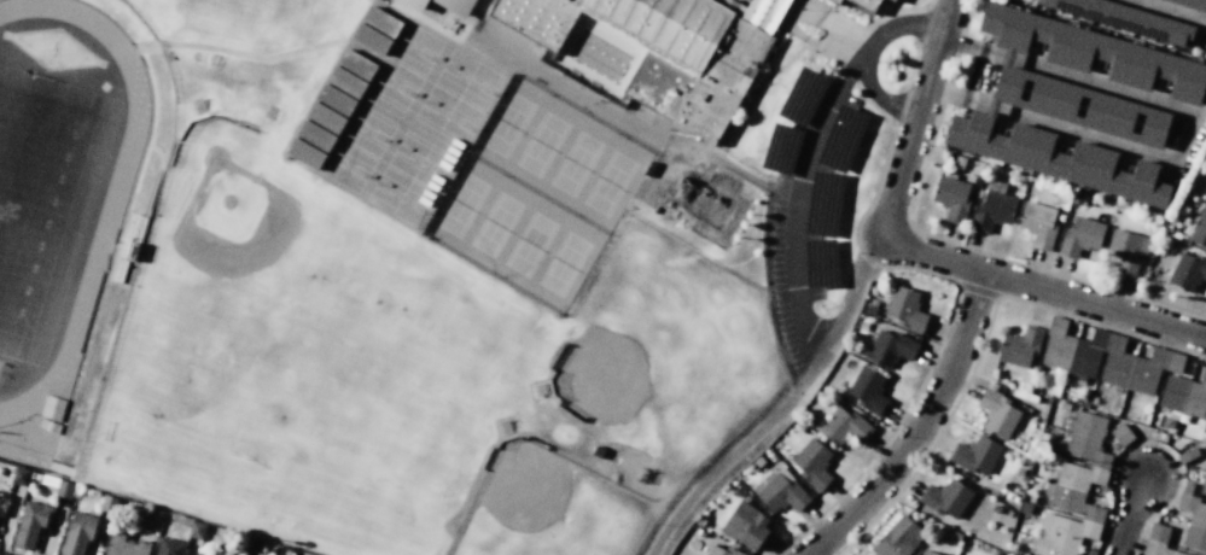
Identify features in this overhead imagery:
building: (891, 0)
building: (835, 1)
building: (414, 4)
building: (866, 4)
building: (1192, 4)
road: (891, 5)
building: (455, 6)
road: (1169, 11)
road: (892, 12)
building: (1126, 19)
road: (831, 21)
park: (408, 45)
road: (202, 46)
building: (668, 48)
road: (864, 54)
road: (808, 55)
building: (549, 57)
park: (467, 78)
park: (386, 81)
road: (799, 95)
road: (584, 97)
road: (753, 97)
building: (802, 97)
building: (1077, 105)
park: (447, 115)
road: (917, 121)
road: (787, 123)
park: (507, 124)
park: (361, 125)
road: (1183, 138)
building: (841, 139)
park: (541, 145)
road: (779, 147)
building: (781, 148)
park: (420, 160)
park: (340, 162)
park: (575, 164)
building: (648, 169)
road: (656, 171)
road: (770, 179)
park: (608, 183)
park: (35, 189)
park: (400, 197)
building: (951, 197)
building: (699, 199)
road: (796, 201)
building: (823, 204)
park: (220, 205)
park: (461, 205)
building: (992, 206)
parking lot: (804, 212)
building: (1038, 223)
park: (495, 224)
building: (1199, 229)
building: (1080, 236)
track: (103, 239)
building: (127, 244)
park: (529, 245)
building: (1126, 251)
building: (821, 263)
park: (563, 264)
building: (1187, 271)
road: (852, 290)
road: (1042, 290)
road: (768, 291)
park: (388, 306)
building: (904, 309)
park: (666, 346)
building: (890, 347)
building: (1019, 347)
building: (1105, 358)
building: (868, 390)
building: (1184, 395)
building: (997, 413)
park: (316, 426)
building: (843, 426)
road: (921, 427)
building: (1120, 433)
road: (739, 448)
building: (974, 454)
building: (1187, 455)
building: (811, 463)
building: (19, 475)
building: (63, 489)
building: (1073, 490)
building: (781, 492)
building: (943, 499)
building: (2, 503)
park: (549, 508)
building: (1194, 514)
road: (1128, 518)
building: (30, 524)
building: (746, 525)
building: (77, 533)
building: (898, 538)
building: (124, 545)
building: (169, 547)
building: (722, 550)
building: (927, 553)
building: (200, 554)

